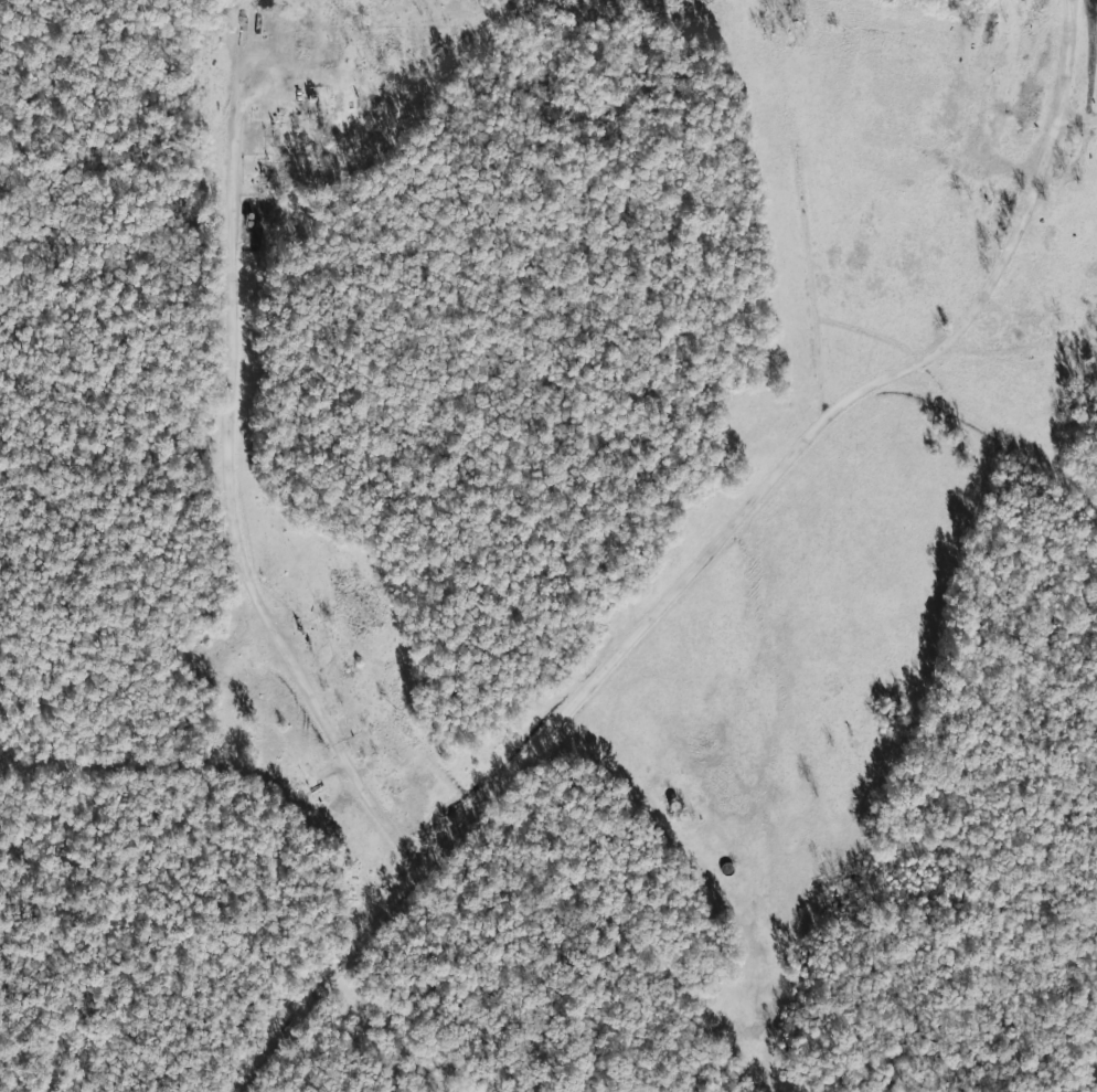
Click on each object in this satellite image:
road: (1077, 118)
road: (1002, 433)
road: (819, 434)
road: (244, 463)
road: (439, 860)

